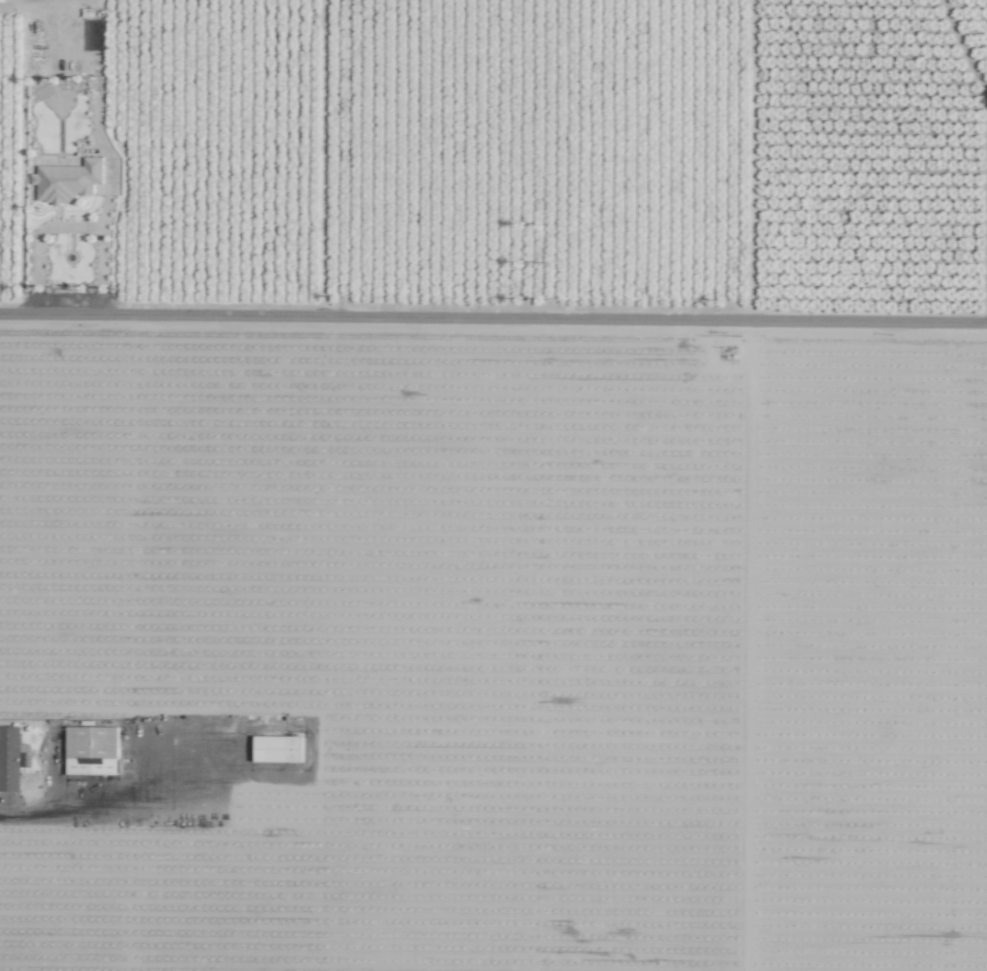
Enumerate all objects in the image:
road: (43, 14)
building: (67, 180)
road: (71, 227)
road: (493, 322)
building: (278, 749)
building: (92, 750)
building: (9, 758)
road: (97, 816)

